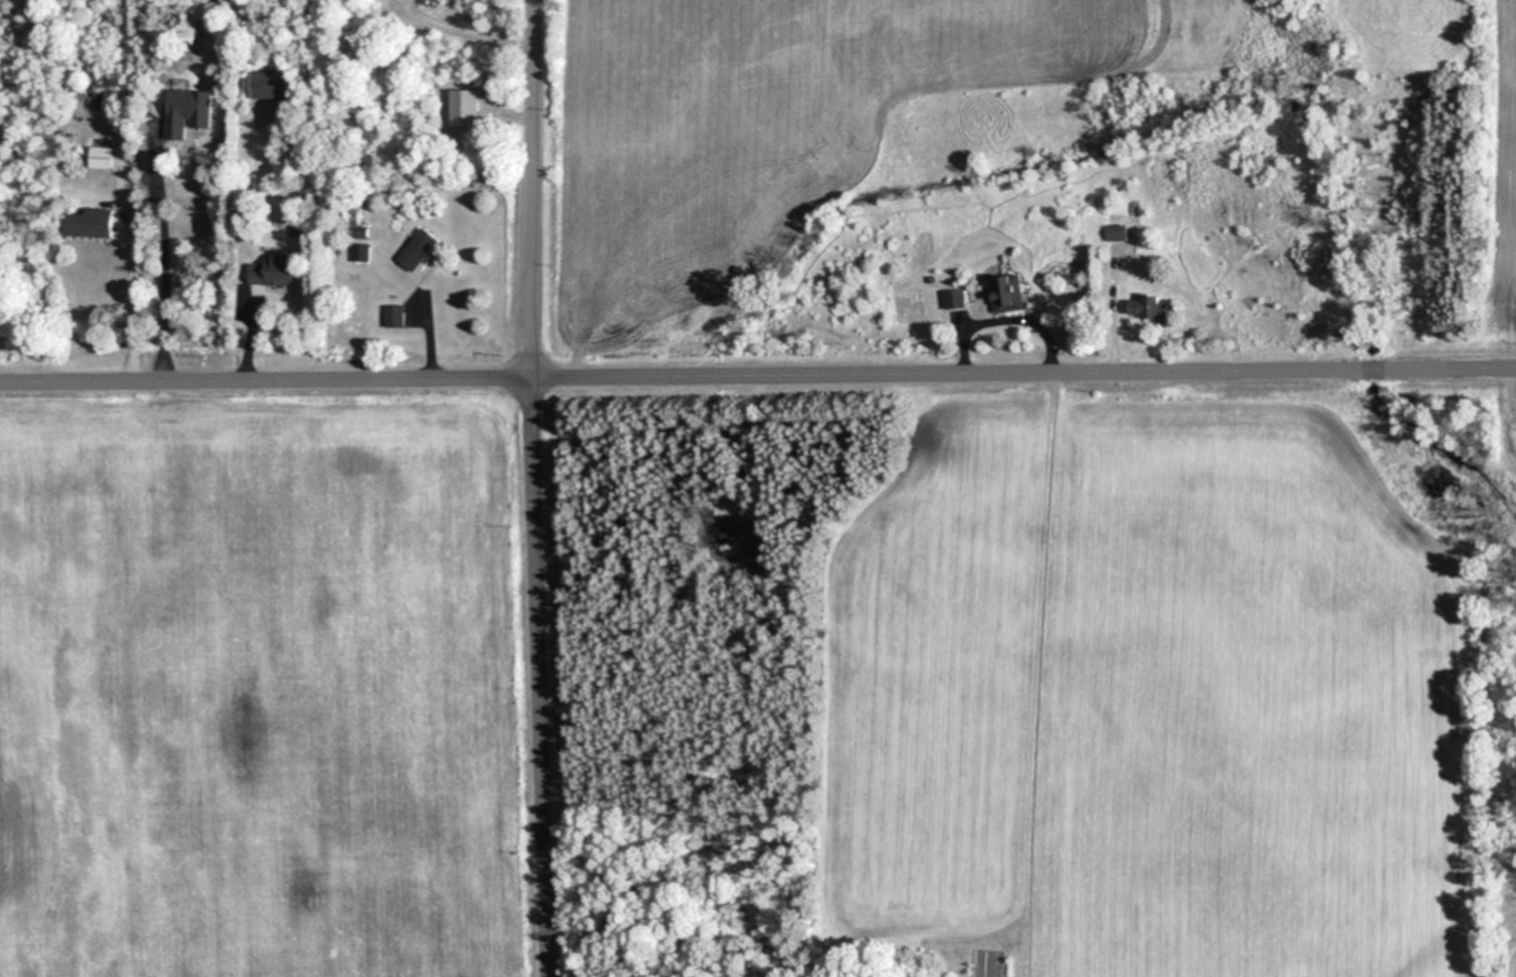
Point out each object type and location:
building: (444, 0)
road: (465, 31)
building: (271, 84)
building: (466, 108)
building: (191, 112)
building: (104, 157)
building: (93, 224)
building: (1118, 233)
road: (164, 246)
building: (419, 250)
building: (362, 252)
building: (276, 271)
building: (1009, 294)
building: (956, 299)
building: (1148, 308)
building: (395, 316)
road: (758, 376)
road: (535, 488)
quarry: (265, 684)

